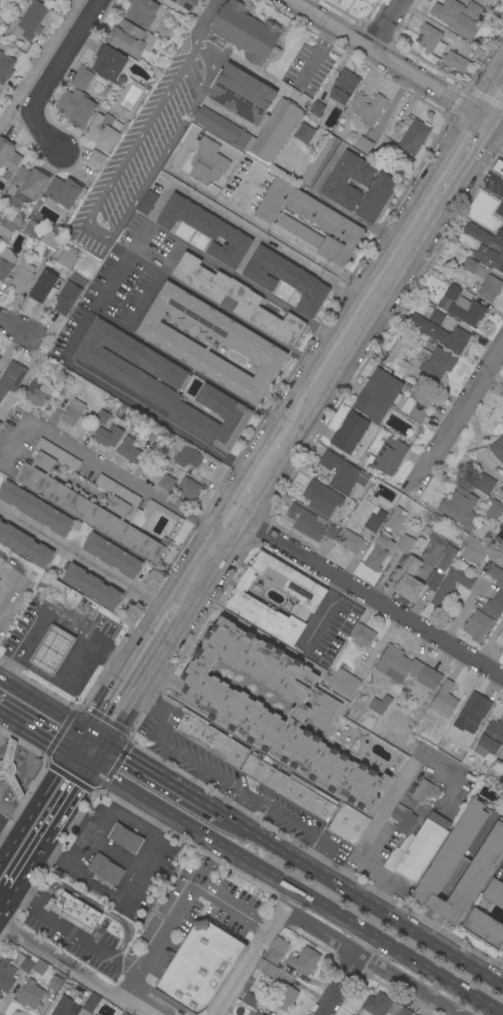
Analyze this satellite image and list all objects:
building: (202, 0)
building: (358, 0)
building: (485, 2)
building: (186, 3)
building: (141, 11)
building: (457, 16)
building: (29, 21)
road: (384, 24)
building: (243, 32)
building: (126, 38)
building: (439, 47)
road: (379, 55)
road: (39, 59)
building: (108, 61)
building: (475, 63)
building: (5, 66)
road: (47, 78)
building: (343, 87)
road: (489, 89)
building: (77, 99)
building: (316, 108)
building: (367, 108)
building: (248, 112)
traffic signals: (475, 112)
road: (148, 115)
road: (485, 119)
road: (499, 120)
traffic signals: (496, 126)
road: (499, 128)
building: (103, 131)
building: (302, 132)
building: (414, 137)
building: (364, 144)
building: (8, 157)
building: (95, 159)
road: (443, 159)
building: (320, 161)
road: (473, 161)
building: (207, 162)
building: (497, 168)
building: (348, 179)
building: (25, 186)
building: (63, 191)
building: (376, 197)
building: (147, 202)
building: (499, 209)
building: (8, 215)
building: (311, 219)
building: (10, 225)
building: (30, 228)
building: (206, 229)
building: (299, 231)
road: (274, 233)
building: (476, 233)
building: (499, 233)
road: (260, 235)
building: (0, 239)
building: (50, 239)
building: (496, 243)
building: (67, 257)
building: (490, 257)
building: (6, 263)
building: (469, 265)
building: (22, 277)
building: (285, 278)
road: (112, 282)
building: (43, 287)
road: (361, 287)
building: (489, 288)
building: (452, 291)
building: (67, 297)
building: (237, 298)
building: (467, 311)
building: (436, 317)
road: (14, 327)
building: (440, 333)
building: (211, 343)
building: (398, 357)
road: (349, 359)
building: (434, 364)
building: (11, 377)
building: (102, 377)
building: (162, 384)
building: (44, 390)
road: (293, 394)
building: (377, 394)
road: (133, 401)
road: (459, 410)
building: (72, 412)
building: (102, 417)
building: (0, 423)
building: (502, 428)
building: (349, 433)
building: (107, 436)
building: (155, 436)
building: (498, 448)
building: (128, 450)
building: (388, 456)
building: (187, 457)
road: (95, 458)
road: (248, 464)
building: (342, 472)
building: (166, 482)
building: (483, 483)
building: (500, 486)
building: (188, 488)
building: (321, 498)
building: (71, 502)
building: (35, 508)
building: (459, 508)
building: (495, 511)
building: (0, 519)
building: (395, 519)
building: (374, 520)
building: (306, 522)
building: (332, 532)
building: (350, 541)
building: (404, 543)
building: (25, 545)
building: (378, 551)
building: (478, 551)
road: (81, 555)
building: (112, 555)
road: (192, 555)
building: (445, 557)
road: (14, 571)
building: (495, 575)
building: (415, 583)
building: (451, 585)
building: (92, 586)
building: (58, 591)
road: (362, 592)
parking lot: (11, 593)
building: (242, 599)
building: (494, 605)
road: (161, 607)
road: (322, 612)
road: (52, 613)
building: (477, 625)
road: (145, 632)
road: (175, 632)
building: (363, 635)
building: (499, 638)
building: (52, 650)
gas station: (52, 650)
building: (502, 652)
building: (406, 668)
building: (344, 683)
road: (107, 691)
building: (444, 700)
road: (42, 703)
building: (379, 704)
building: (274, 707)
road: (159, 708)
building: (473, 710)
road: (2, 718)
building: (367, 722)
traffic signals: (84, 729)
road: (34, 730)
road: (95, 736)
building: (210, 739)
building: (490, 739)
road: (76, 740)
traffic signals: (106, 744)
road: (28, 746)
road: (2, 750)
traffic signals: (69, 751)
road: (9, 754)
road: (99, 754)
building: (502, 756)
road: (80, 758)
road: (17, 759)
traffic signals: (92, 765)
road: (22, 766)
building: (502, 766)
building: (10, 768)
road: (58, 768)
building: (264, 773)
road: (19, 775)
road: (35, 778)
road: (164, 779)
parking lot: (229, 780)
road: (401, 780)
road: (13, 782)
building: (425, 791)
road: (5, 795)
road: (253, 796)
building: (308, 798)
road: (66, 802)
road: (36, 803)
road: (128, 805)
road: (13, 812)
road: (103, 818)
building: (402, 818)
road: (77, 822)
building: (347, 824)
road: (19, 831)
road: (6, 836)
building: (125, 838)
gas station: (125, 838)
building: (423, 846)
road: (6, 852)
building: (398, 854)
road: (468, 854)
road: (26, 867)
building: (105, 869)
road: (367, 869)
building: (438, 872)
road: (296, 889)
building: (494, 893)
road: (119, 895)
road: (363, 898)
road: (5, 901)
road: (436, 903)
road: (176, 908)
road: (230, 908)
building: (76, 910)
road: (425, 921)
building: (484, 928)
road: (86, 941)
building: (276, 949)
road: (255, 951)
building: (303, 960)
road: (370, 962)
building: (23, 963)
building: (199, 966)
building: (39, 967)
building: (265, 967)
road: (74, 970)
building: (6, 974)
road: (346, 974)
road: (502, 982)
building: (55, 983)
building: (30, 994)
building: (284, 995)
road: (162, 997)
building: (249, 999)
building: (89, 1005)
building: (382, 1006)
building: (62, 1007)
building: (124, 1013)
building: (258, 1013)
building: (94, 1014)
building: (415, 1014)

